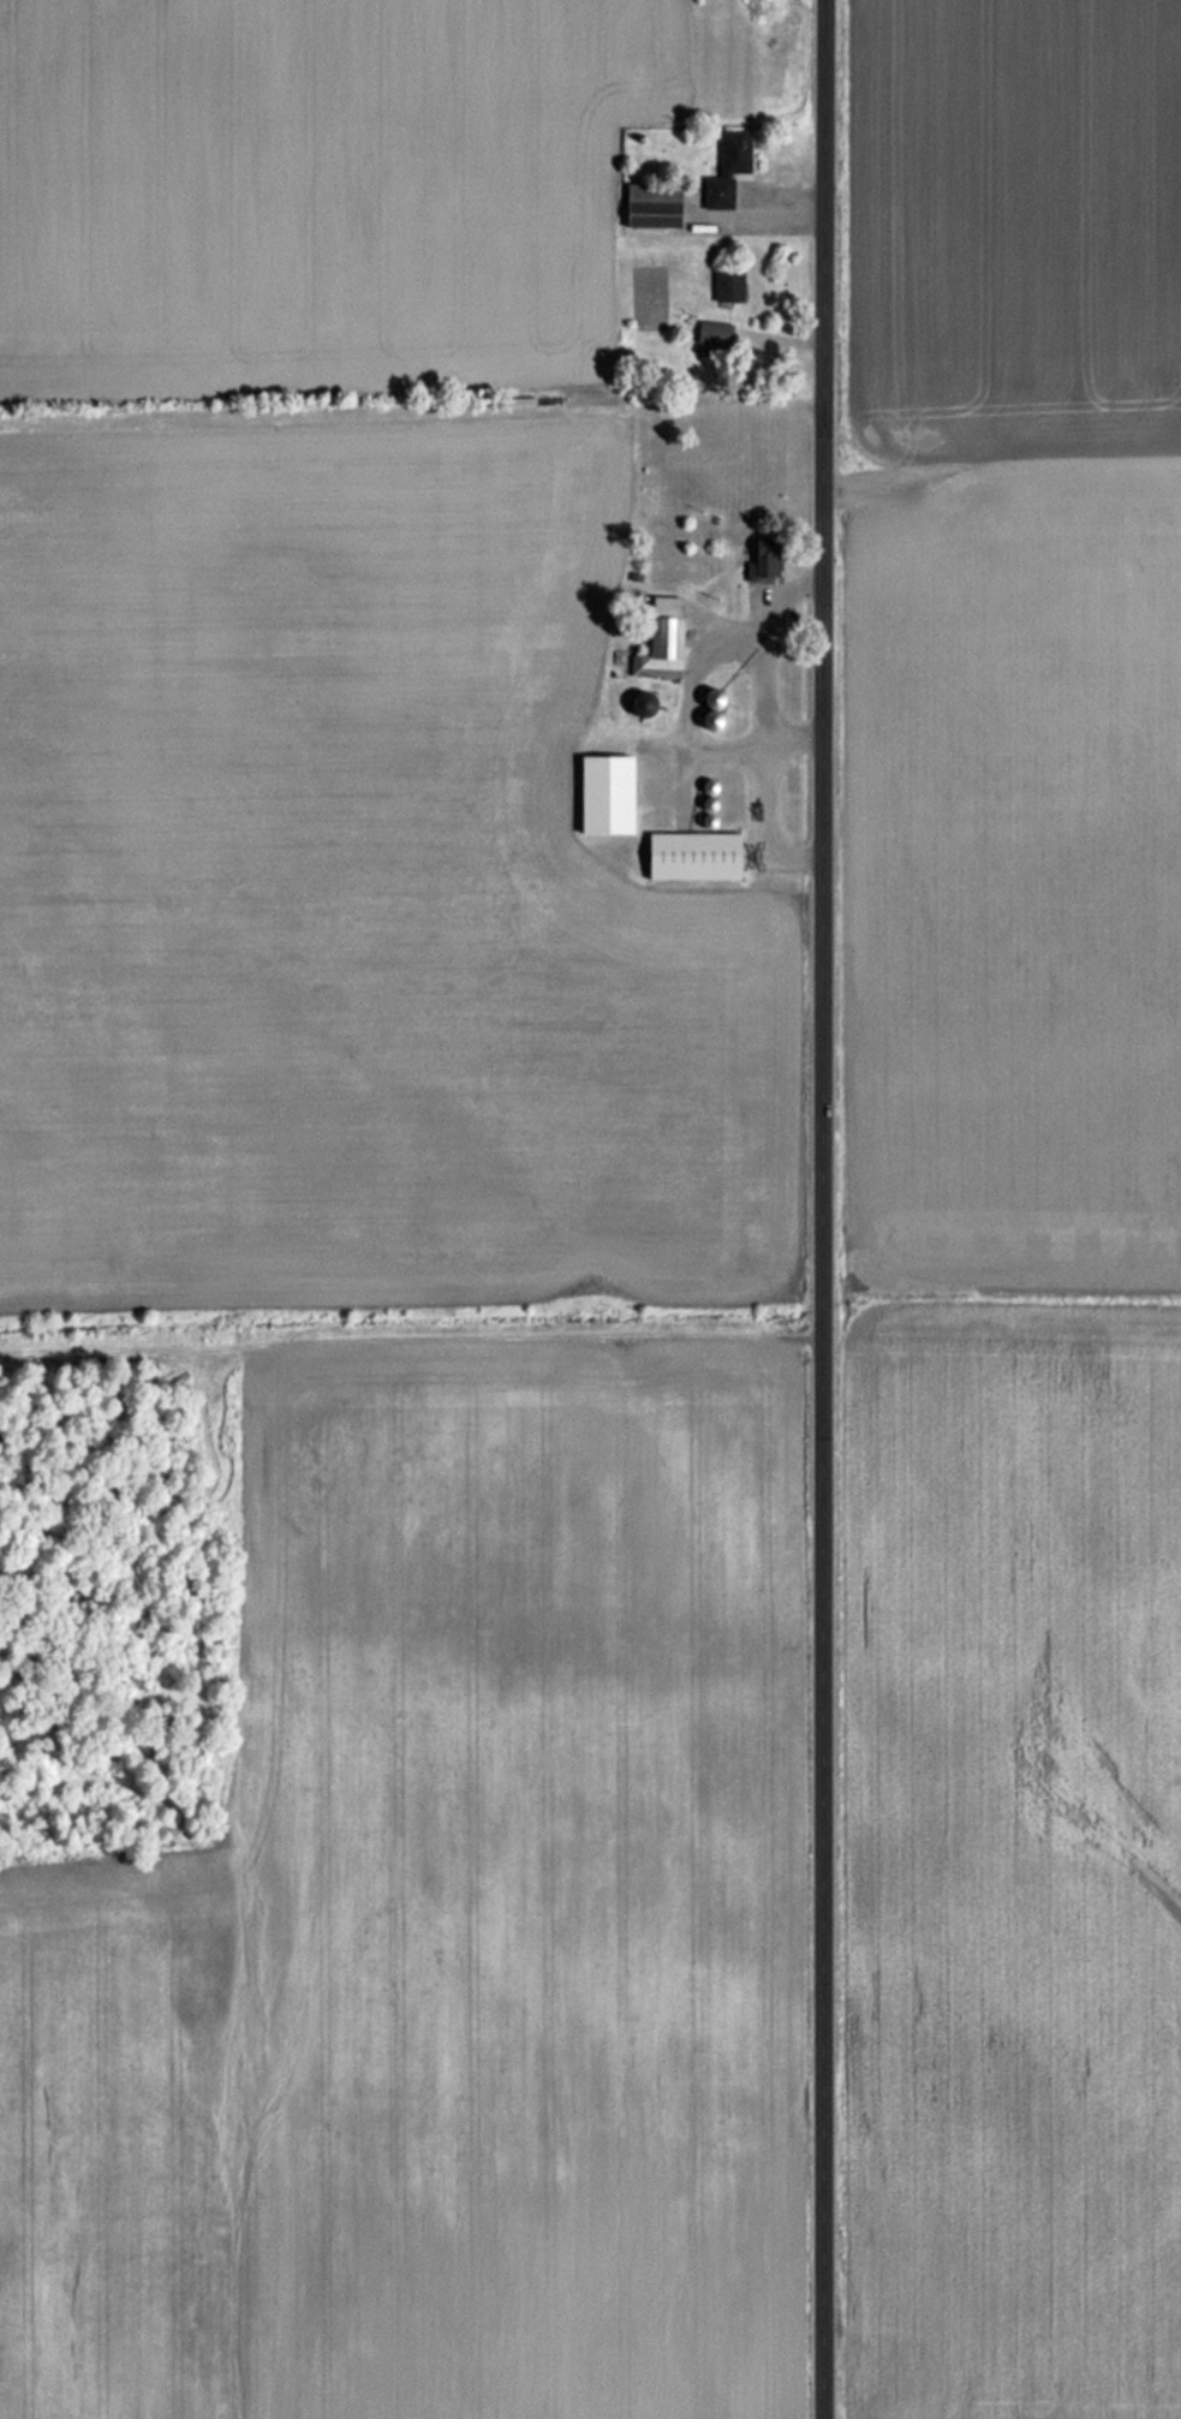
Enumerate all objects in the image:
building: (729, 169)
building: (654, 205)
road: (742, 208)
building: (729, 285)
building: (715, 333)
building: (768, 561)
building: (664, 642)
road: (690, 698)
building: (716, 699)
building: (646, 705)
road: (764, 757)
building: (697, 857)
road: (817, 1209)

